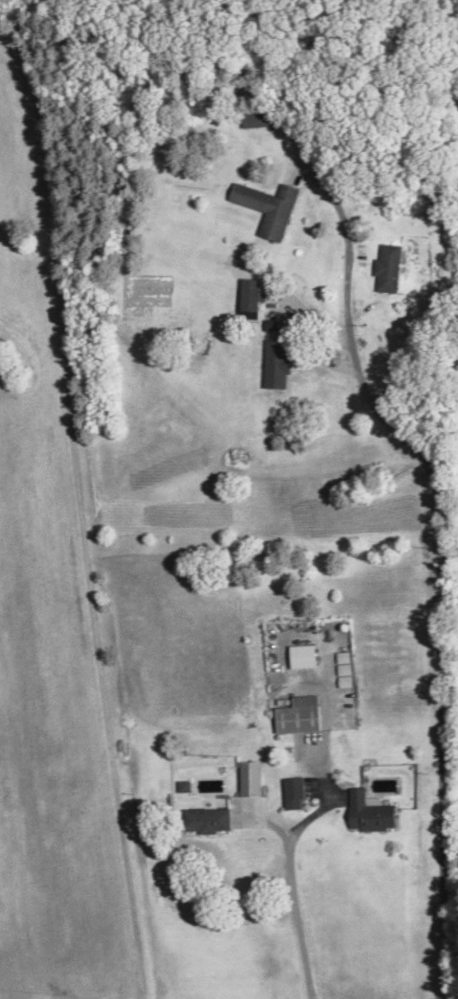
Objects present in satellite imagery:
building: (268, 209)
building: (388, 270)
road: (393, 363)
building: (279, 365)
road: (438, 590)
building: (303, 657)
building: (301, 716)
building: (294, 794)
building: (371, 813)
building: (207, 821)

